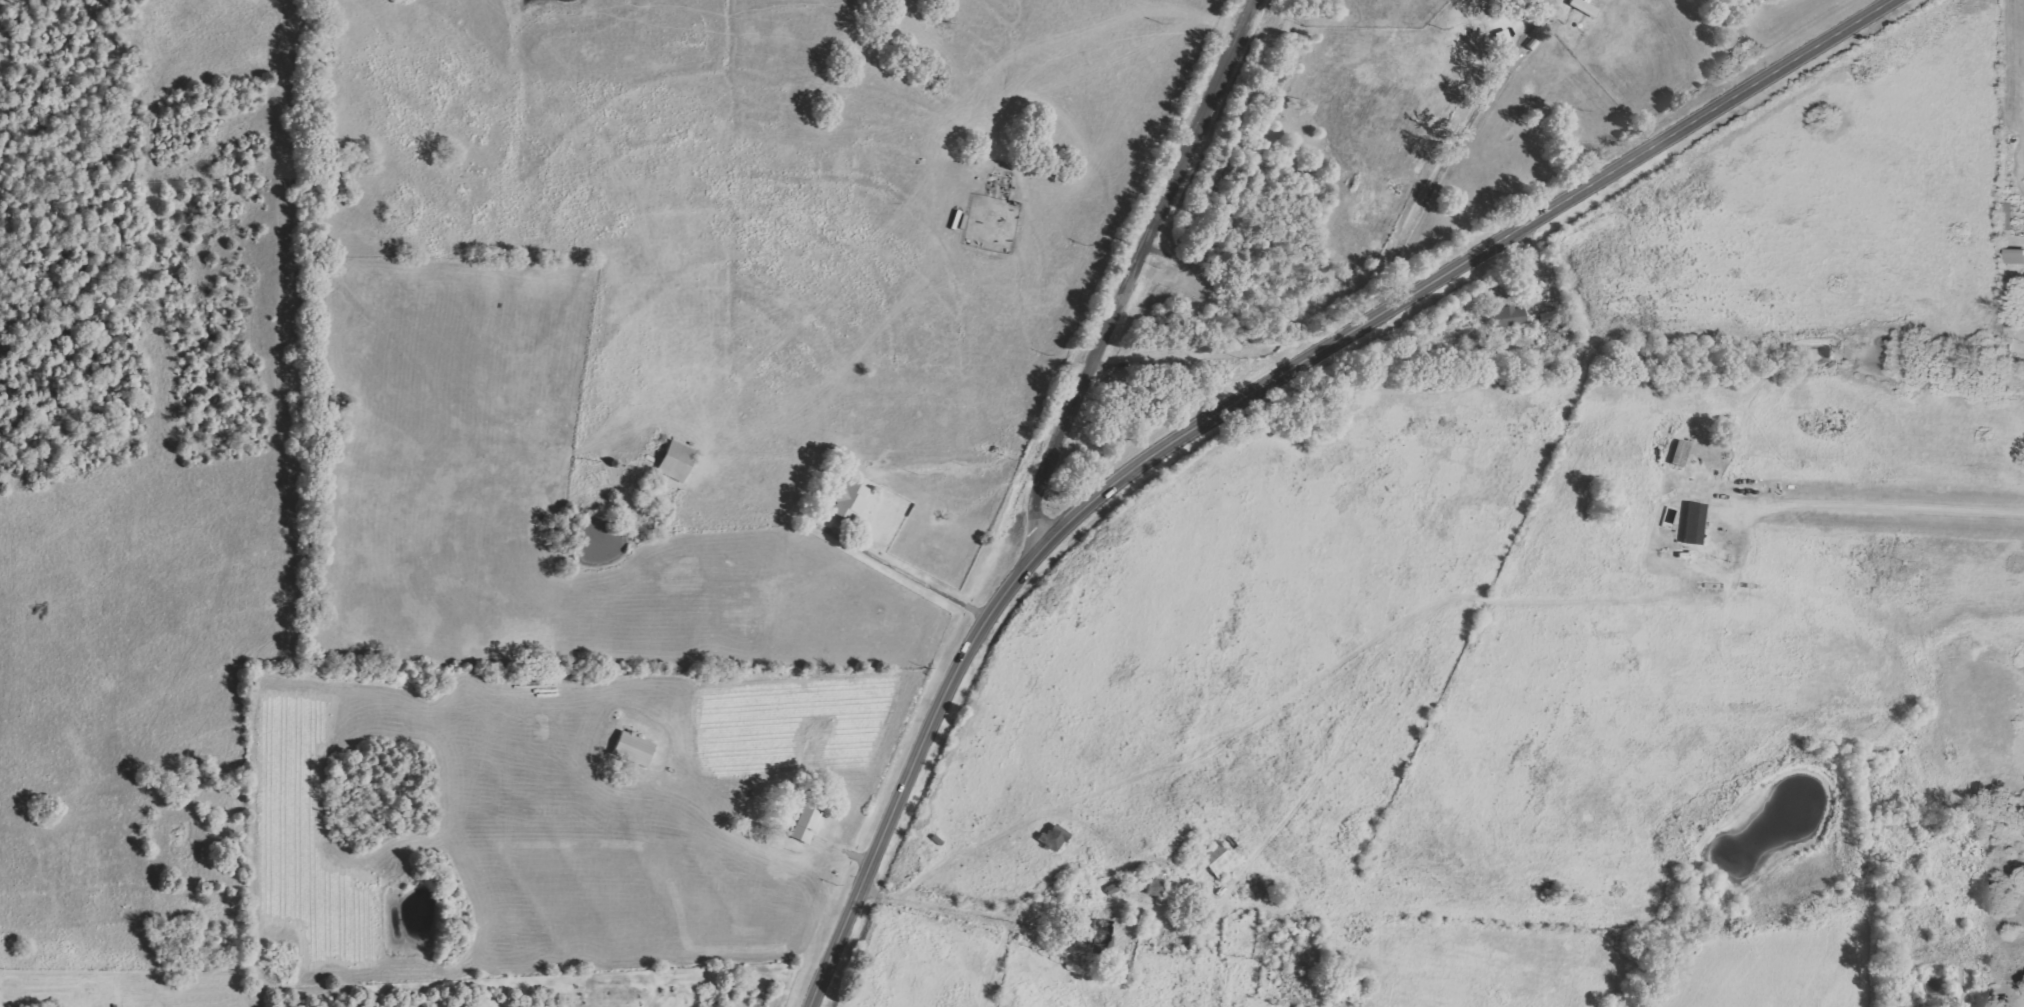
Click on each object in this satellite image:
road: (1433, 171)
building: (2015, 256)
road: (1134, 272)
building: (1509, 316)
road: (1242, 397)
building: (1681, 453)
building: (677, 461)
building: (852, 499)
road: (1881, 500)
road: (802, 521)
building: (1695, 523)
road: (1923, 737)
building: (634, 748)
building: (808, 821)
building: (1054, 836)
building: (1219, 861)
building: (1156, 882)
building: (1114, 887)
road: (942, 903)

